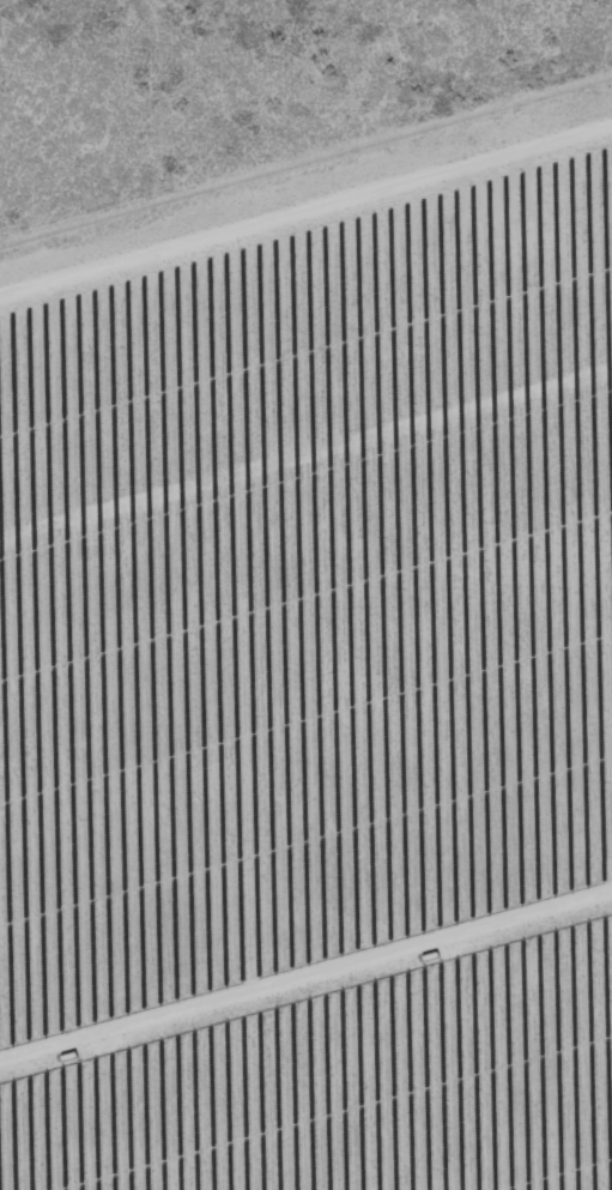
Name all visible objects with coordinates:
solar farm: (314, 672)

